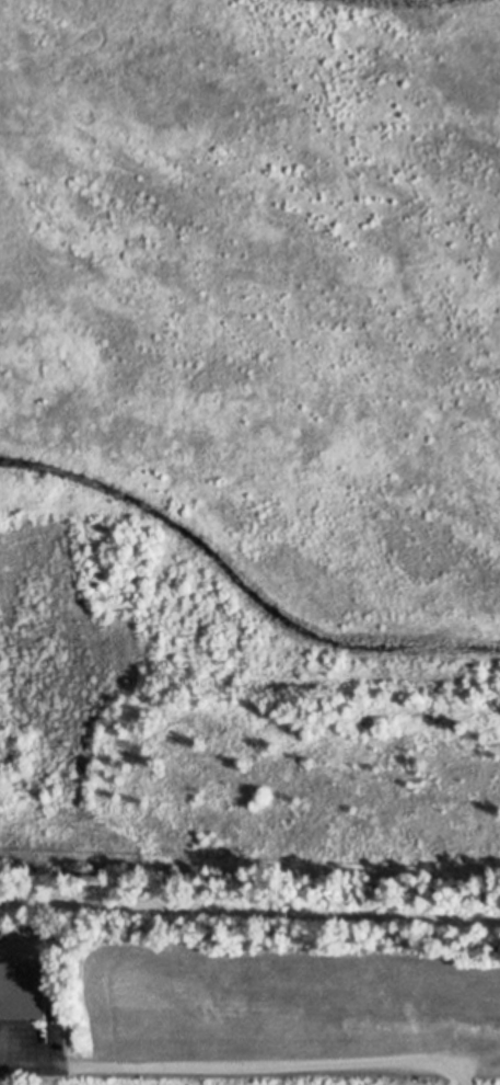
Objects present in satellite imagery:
airport: (251, 429)
road: (249, 910)
building: (26, 989)
road: (242, 1063)

